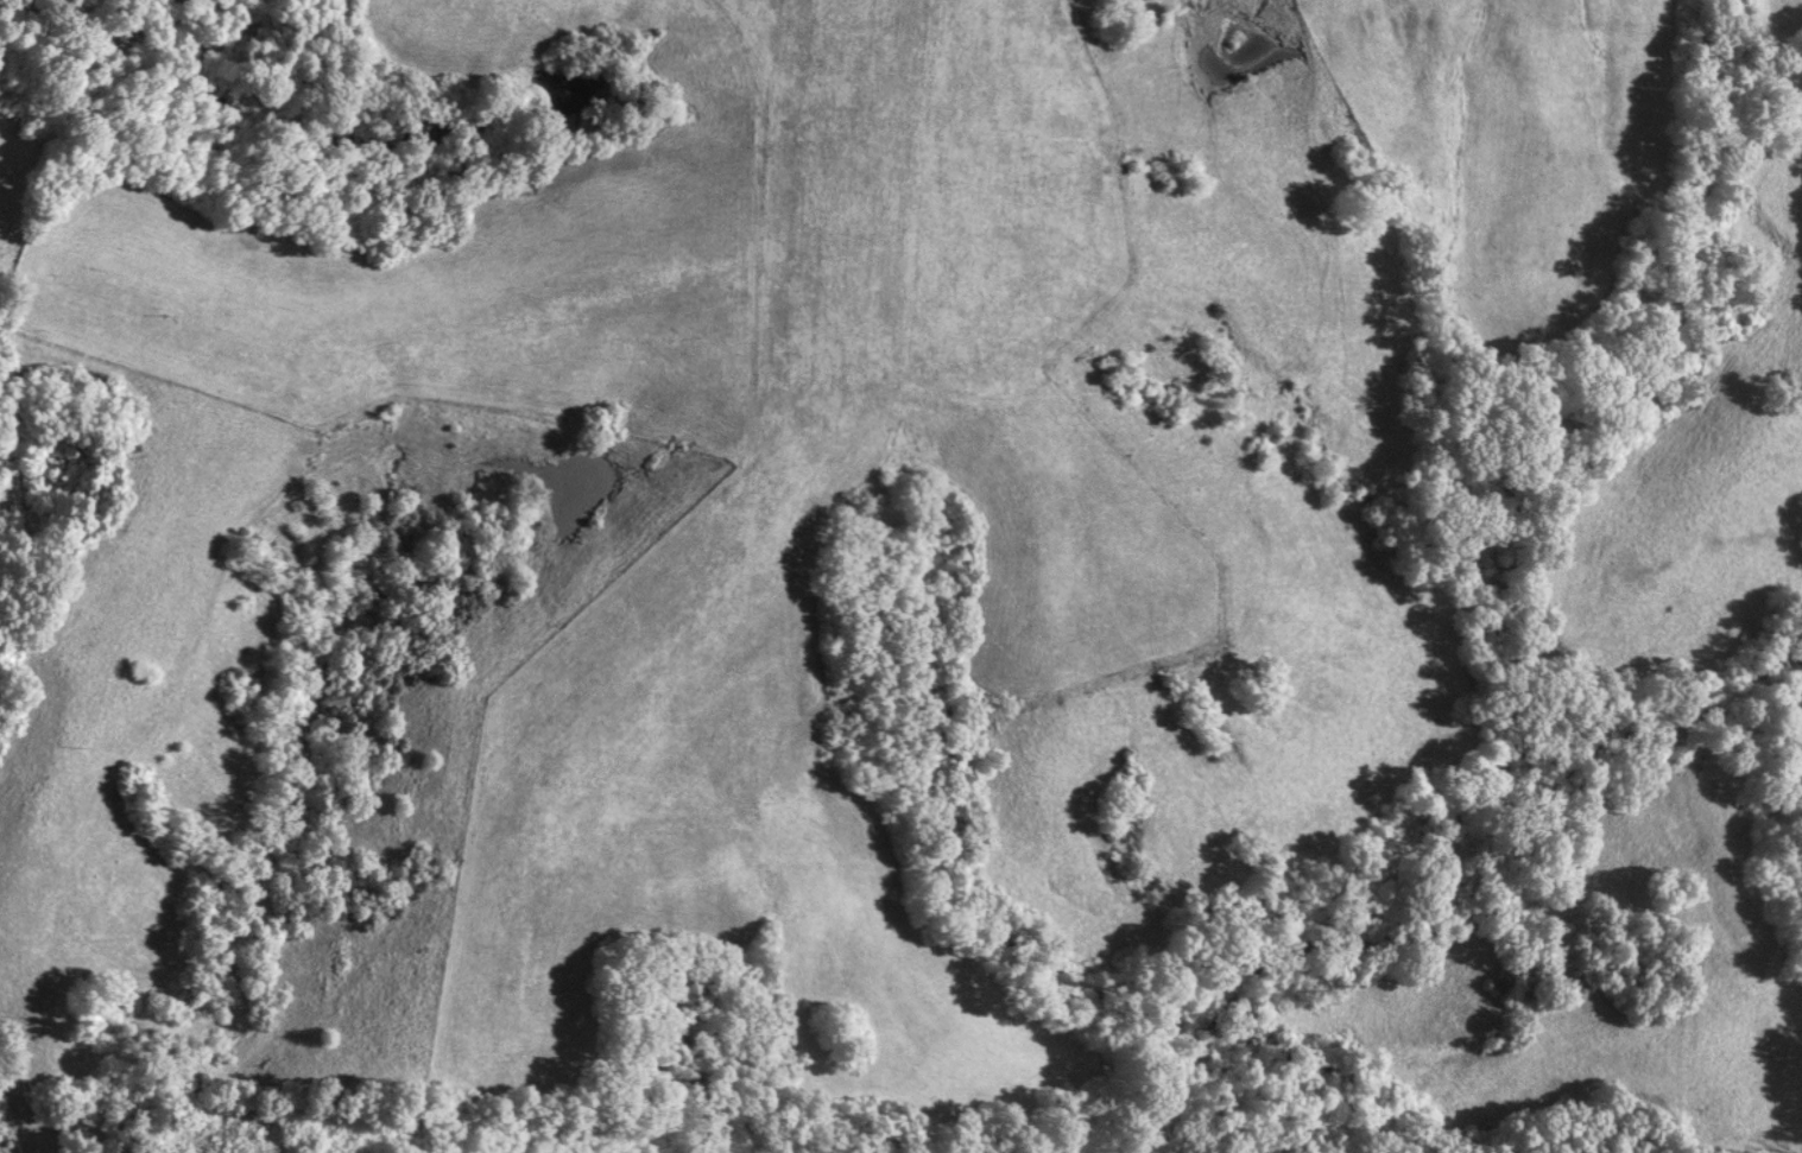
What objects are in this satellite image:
road: (19, 1120)
road: (19, 1144)

